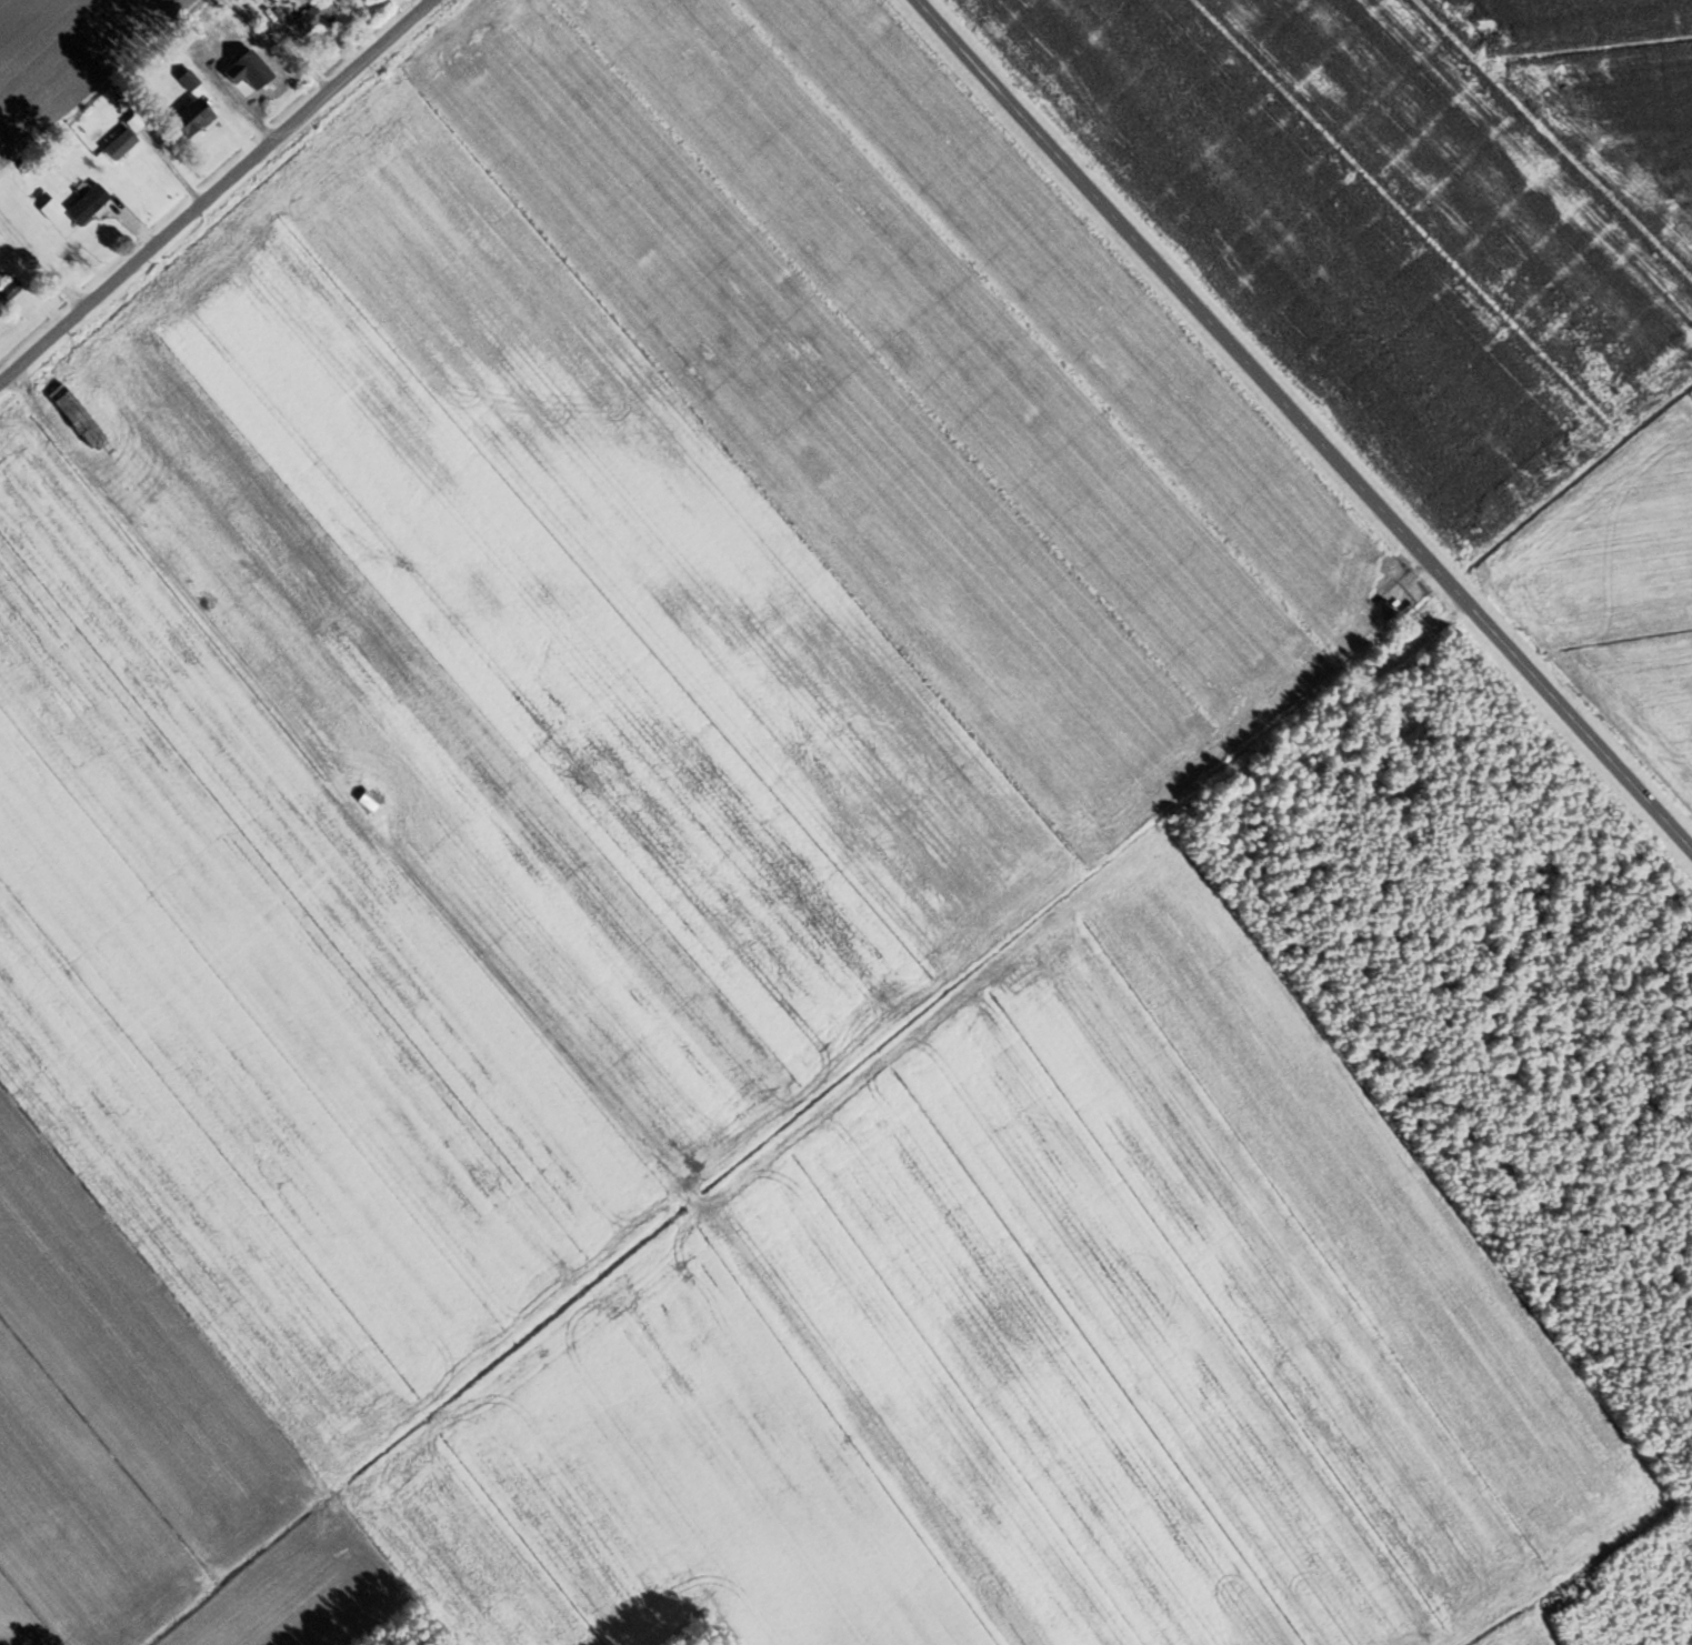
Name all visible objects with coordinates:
building: (236, 0)
building: (316, 17)
building: (252, 82)
building: (121, 144)
road: (219, 193)
building: (89, 205)
building: (51, 211)
building: (7, 290)
road: (31, 295)
road: (1303, 430)
building: (369, 804)

